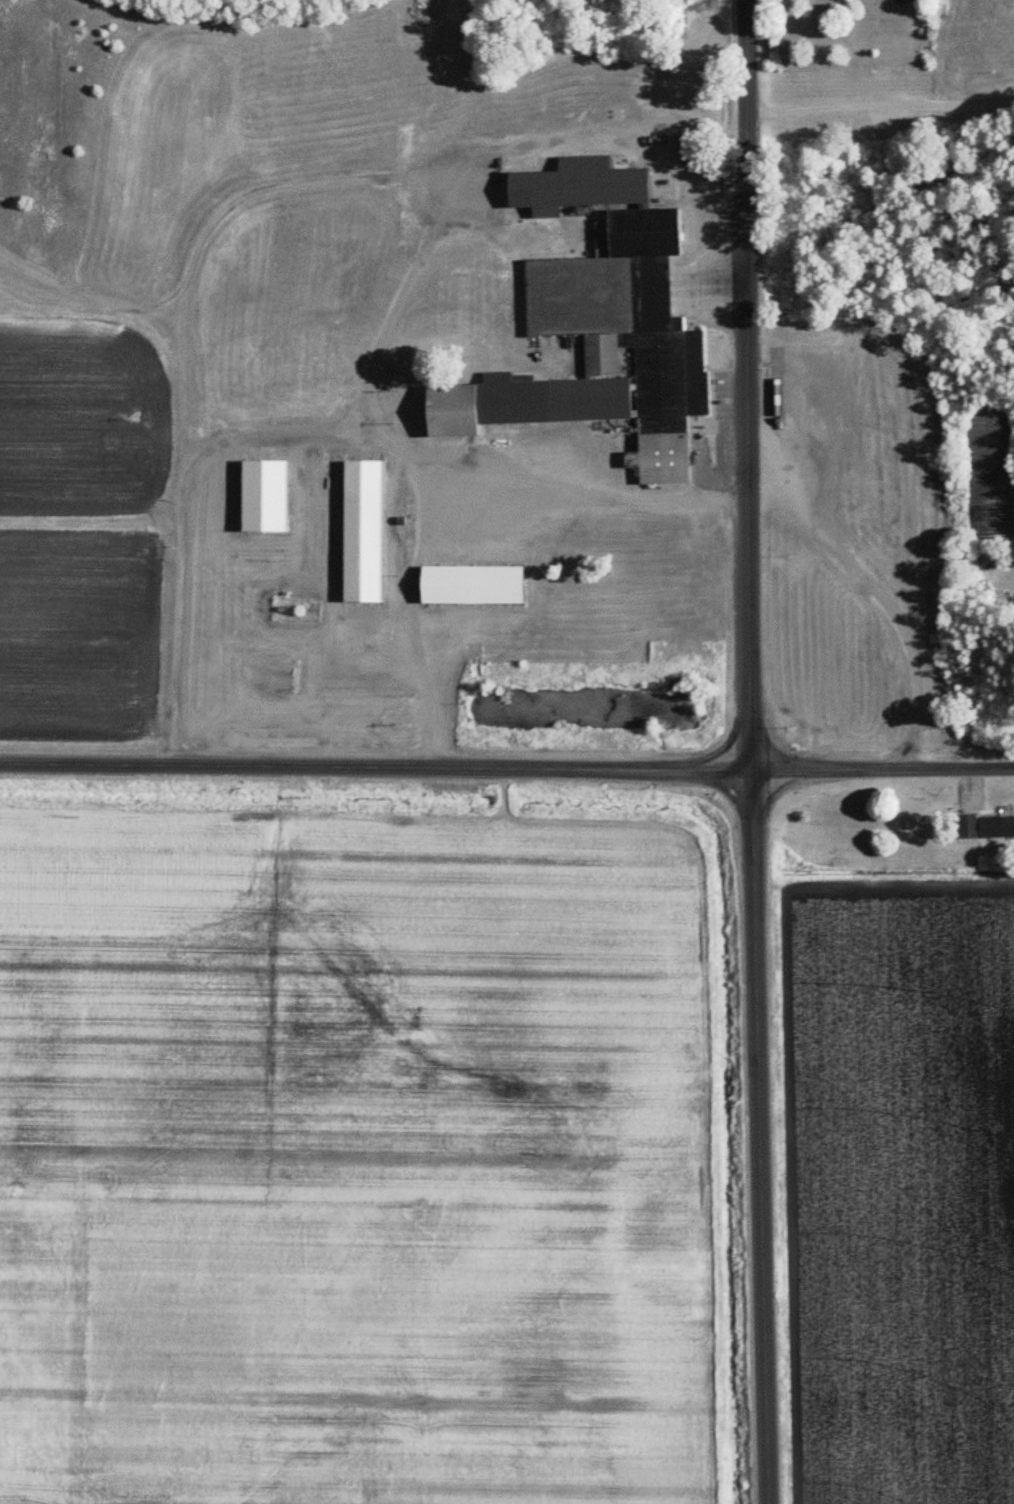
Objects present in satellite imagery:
road: (881, 103)
building: (578, 300)
road: (396, 311)
building: (659, 458)
building: (264, 471)
road: (589, 489)
road: (182, 511)
building: (362, 530)
building: (472, 584)
road: (754, 752)
road: (506, 765)
building: (986, 827)

